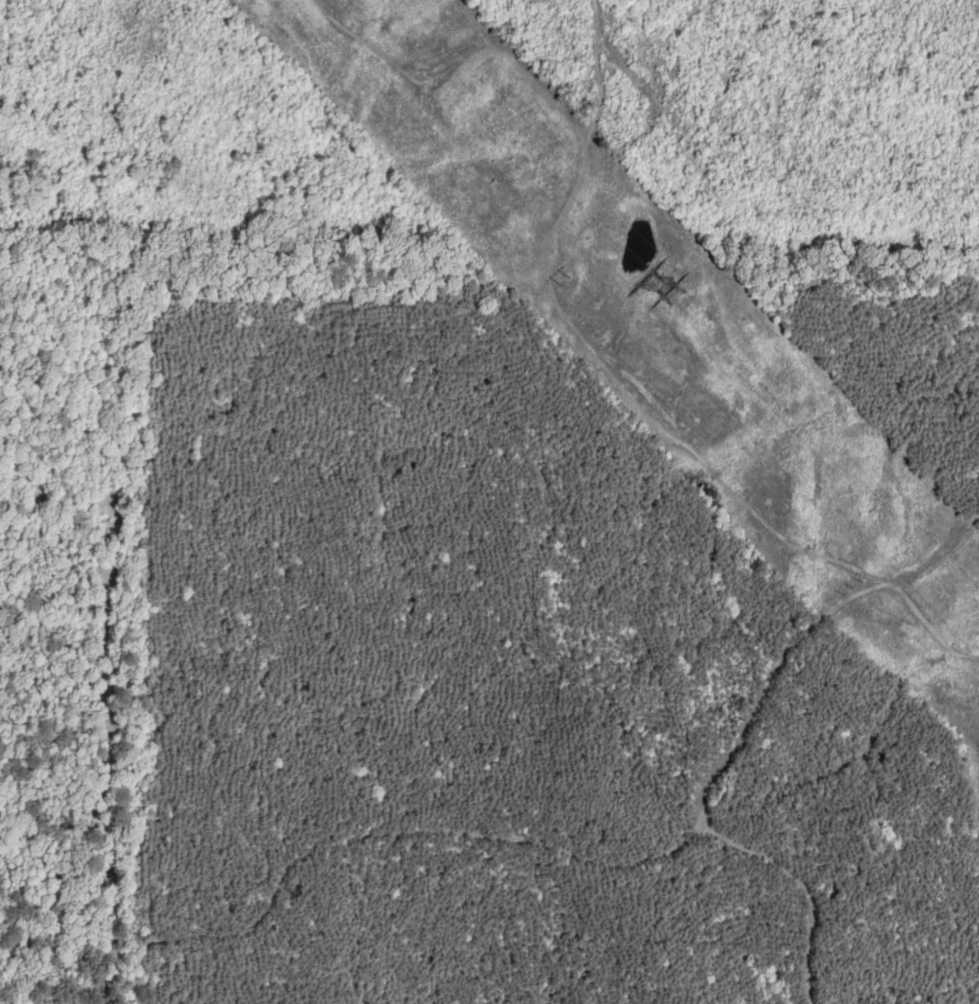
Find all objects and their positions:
power tower: (567, 280)
power tower: (660, 291)
power tower: (855, 589)

